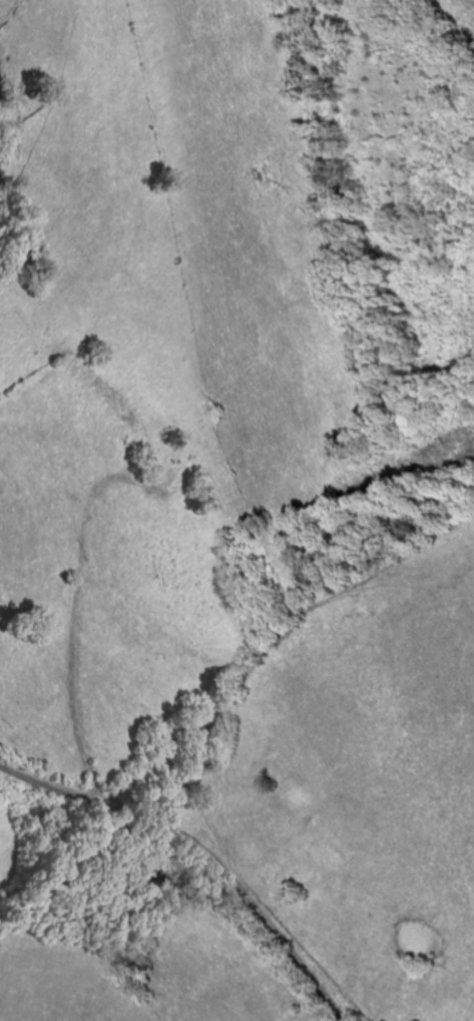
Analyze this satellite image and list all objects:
road: (185, 581)
road: (200, 851)

